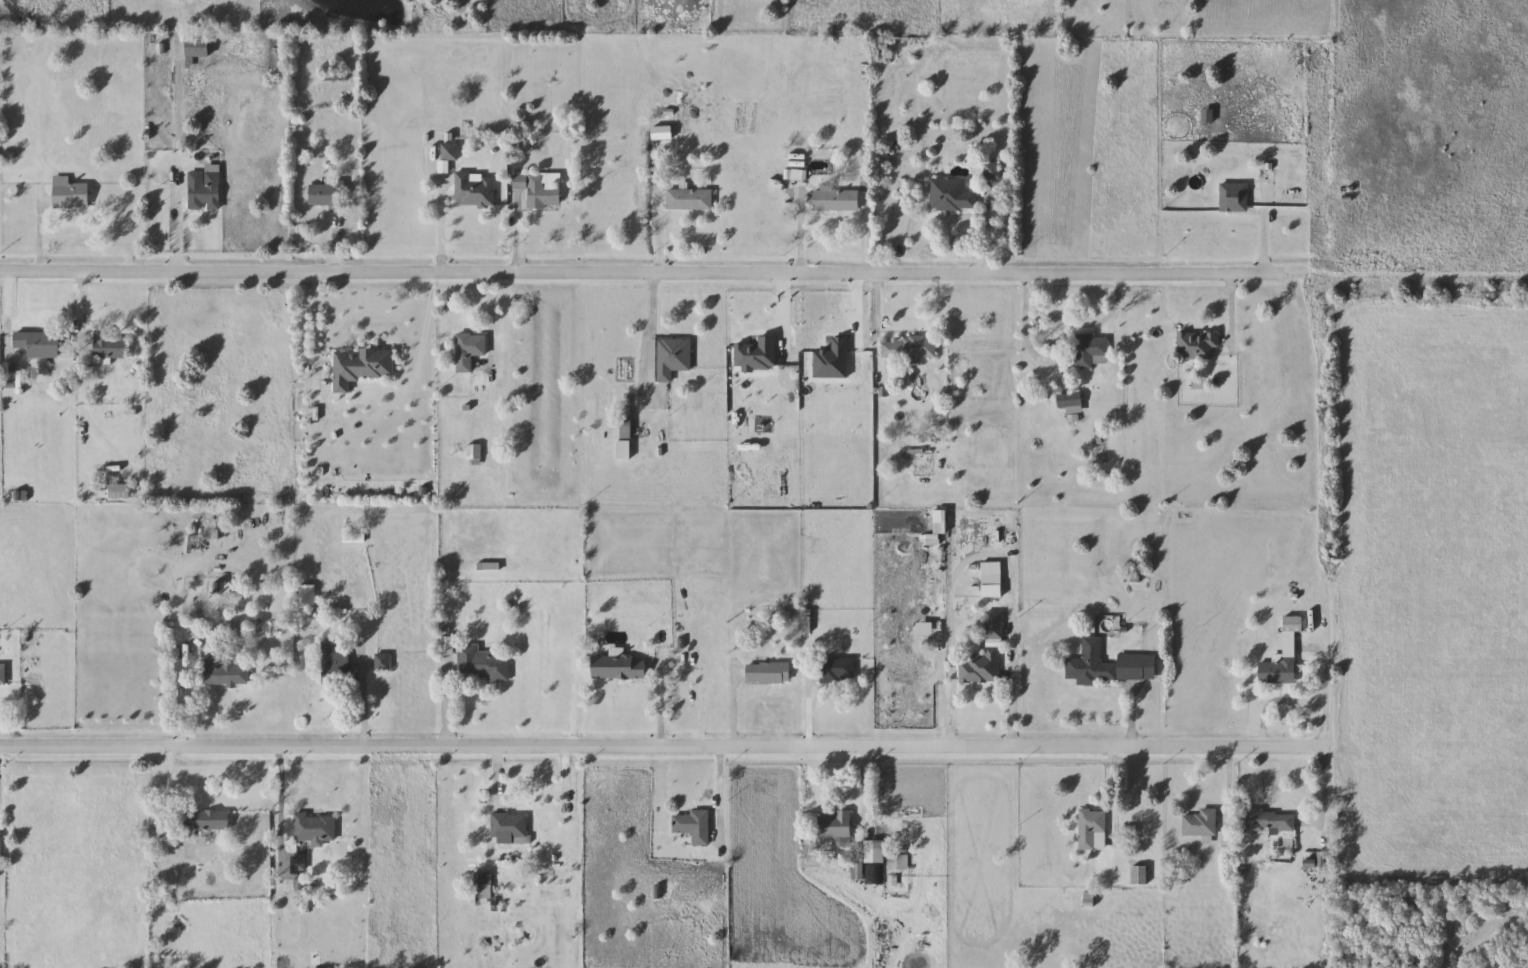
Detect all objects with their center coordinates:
building: (199, 48)
building: (883, 53)
building: (450, 152)
road: (179, 167)
building: (205, 188)
building: (475, 191)
building: (540, 192)
building: (70, 194)
building: (952, 195)
building: (328, 196)
building: (1234, 198)
building: (690, 200)
building: (837, 201)
road: (443, 226)
road: (645, 275)
road: (319, 330)
building: (39, 344)
building: (111, 346)
building: (1199, 346)
building: (909, 348)
building: (470, 350)
building: (1093, 351)
building: (669, 358)
building: (362, 367)
building: (1071, 403)
building: (622, 429)
building: (475, 455)
building: (121, 491)
road: (985, 549)
building: (308, 595)
building: (986, 655)
building: (1284, 656)
building: (483, 663)
building: (335, 665)
building: (1109, 665)
building: (838, 670)
building: (224, 672)
building: (768, 673)
building: (3, 675)
road: (1329, 696)
road: (449, 701)
road: (365, 703)
road: (575, 703)
road: (661, 749)
road: (164, 792)
road: (1326, 792)
road: (280, 799)
building: (208, 820)
building: (1270, 821)
building: (1201, 824)
building: (837, 826)
building: (509, 827)
building: (694, 827)
building: (315, 828)
building: (1093, 831)
building: (868, 859)
building: (299, 863)
building: (899, 863)
building: (165, 879)

